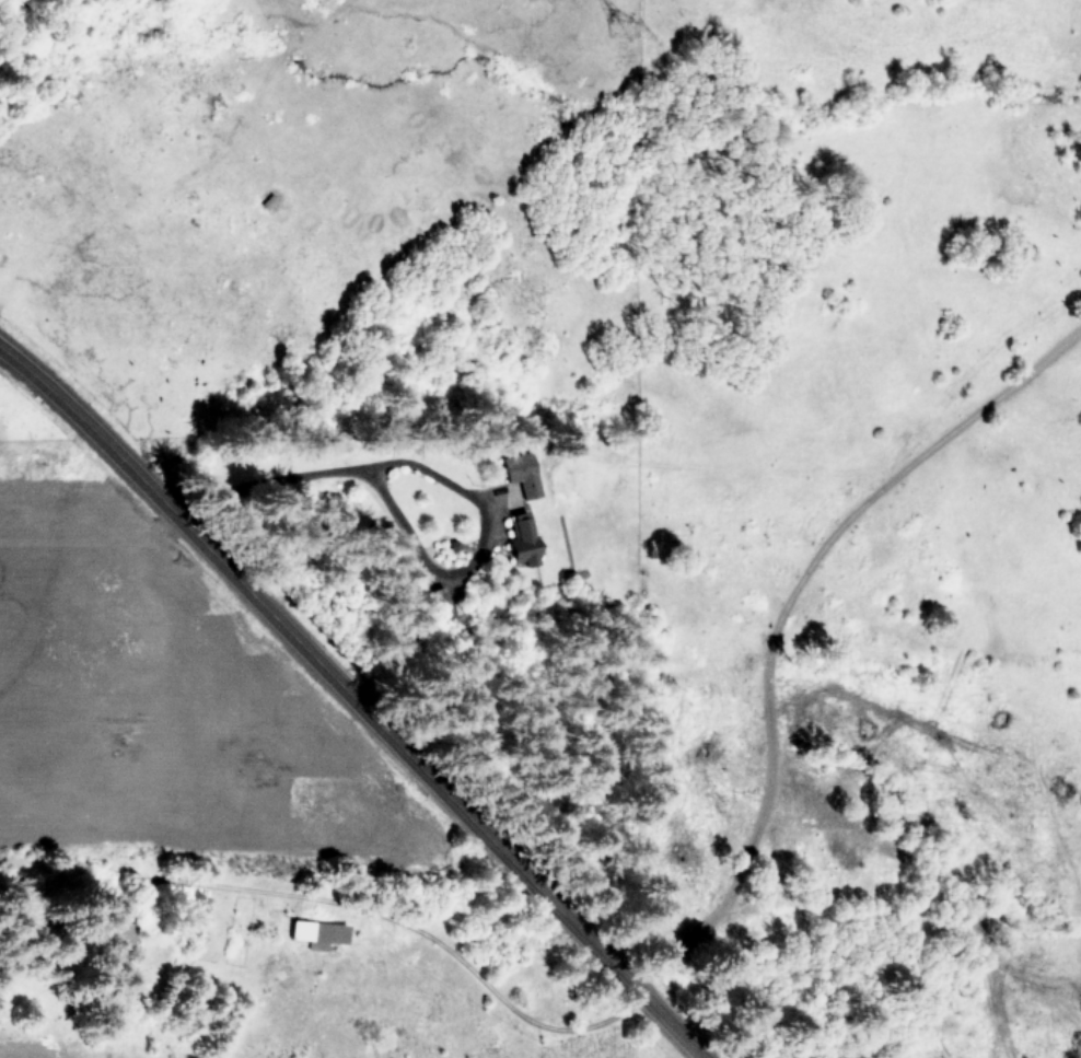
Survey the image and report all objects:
power tower: (629, 20)
building: (522, 473)
road: (453, 495)
building: (523, 542)
road: (776, 625)
road: (350, 704)
crop: (216, 830)
road: (408, 931)
building: (317, 933)

